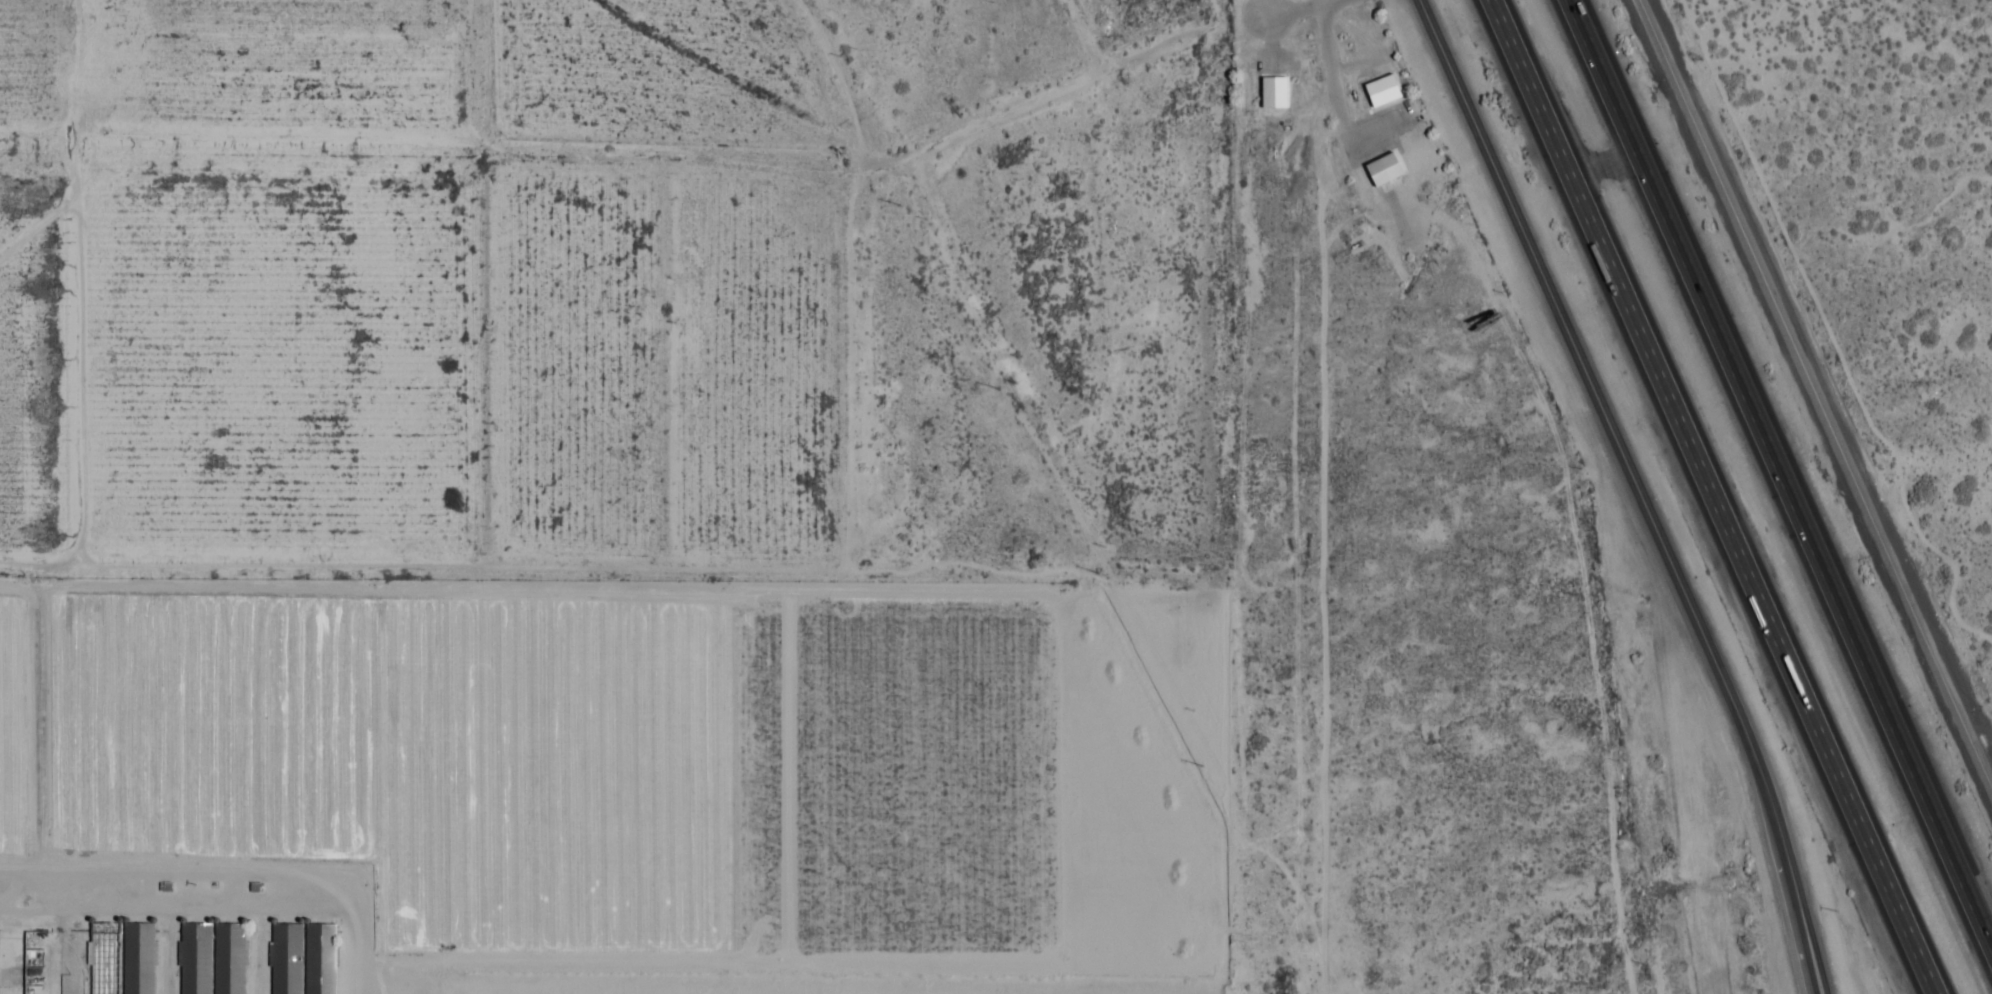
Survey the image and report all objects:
road: (1303, 14)
road: (1373, 47)
road: (1062, 92)
road: (1373, 128)
road: (1343, 132)
building: (1383, 171)
road: (80, 315)
road: (1816, 395)
road: (1778, 480)
road: (1635, 489)
road: (1714, 496)
road: (1047, 678)
road: (38, 717)
crop: (15, 721)
crop: (435, 755)
road: (1147, 797)
road: (996, 836)
road: (212, 873)
building: (212, 960)
building: (23, 961)
building: (121, 961)
building: (302, 961)
road: (355, 981)

